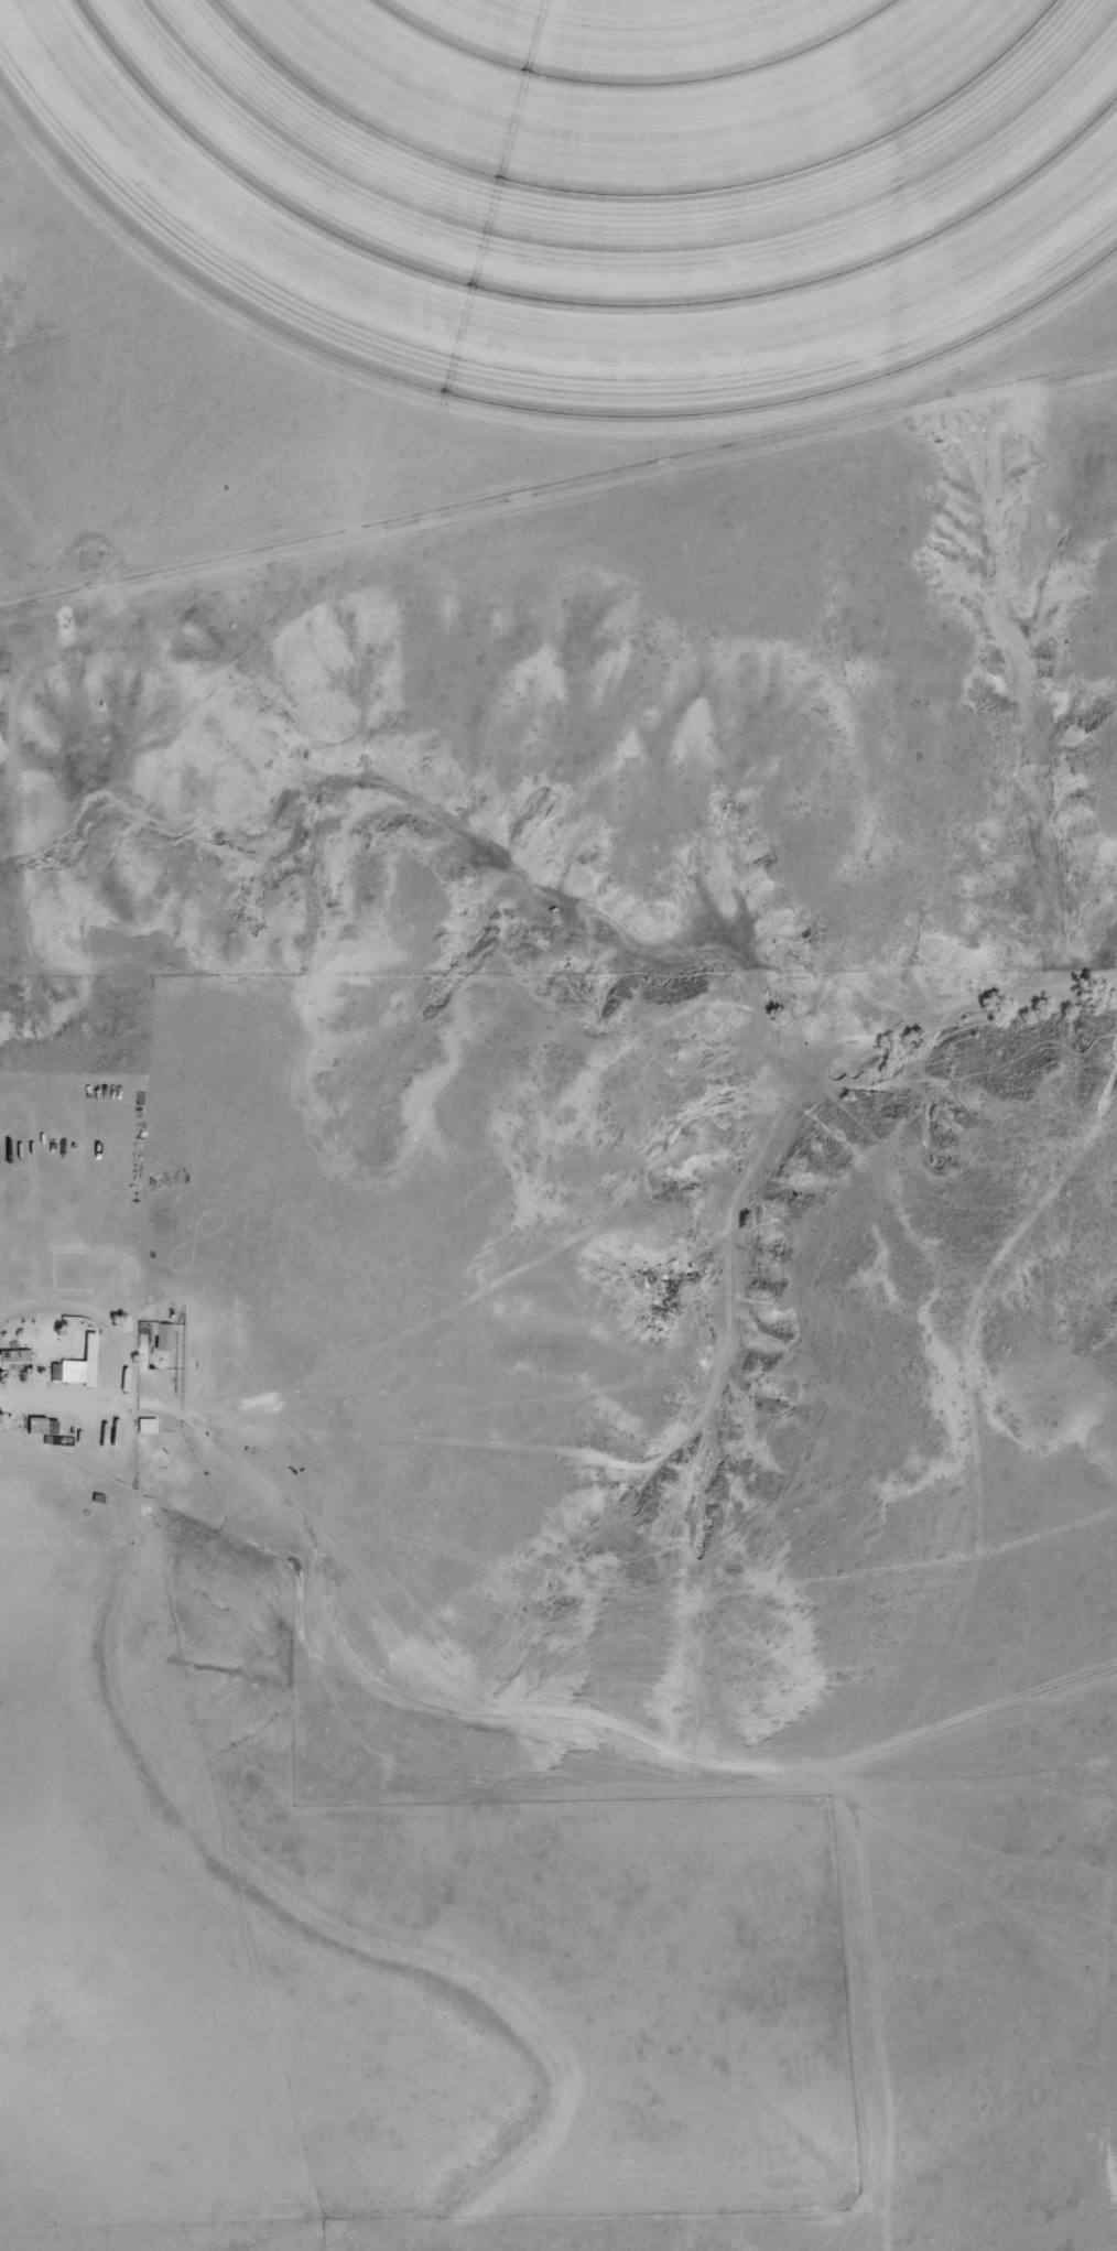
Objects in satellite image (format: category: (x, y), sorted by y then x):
building: (162, 1333)
building: (94, 1359)
building: (19, 1360)
building: (150, 1426)

